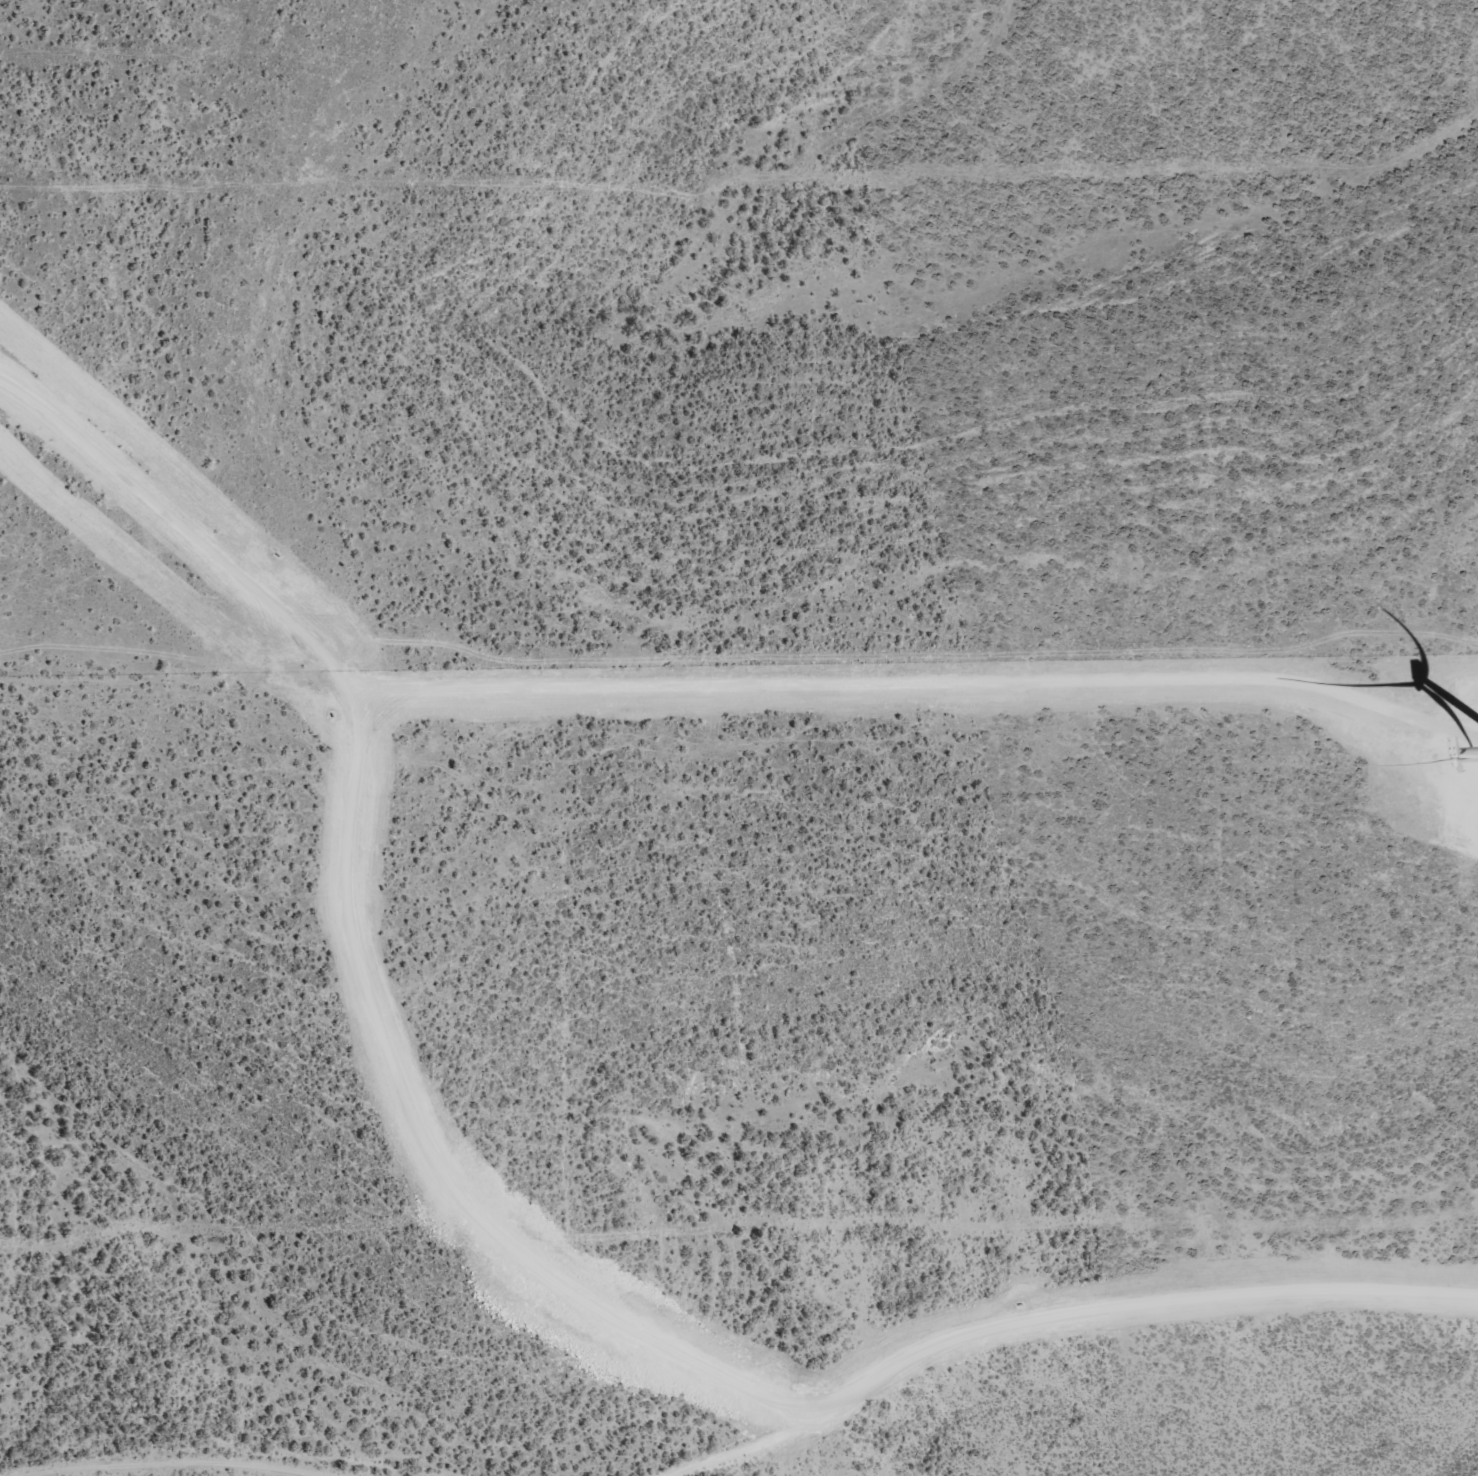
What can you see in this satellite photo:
road: (1069, 1307)
road: (198, 1464)

